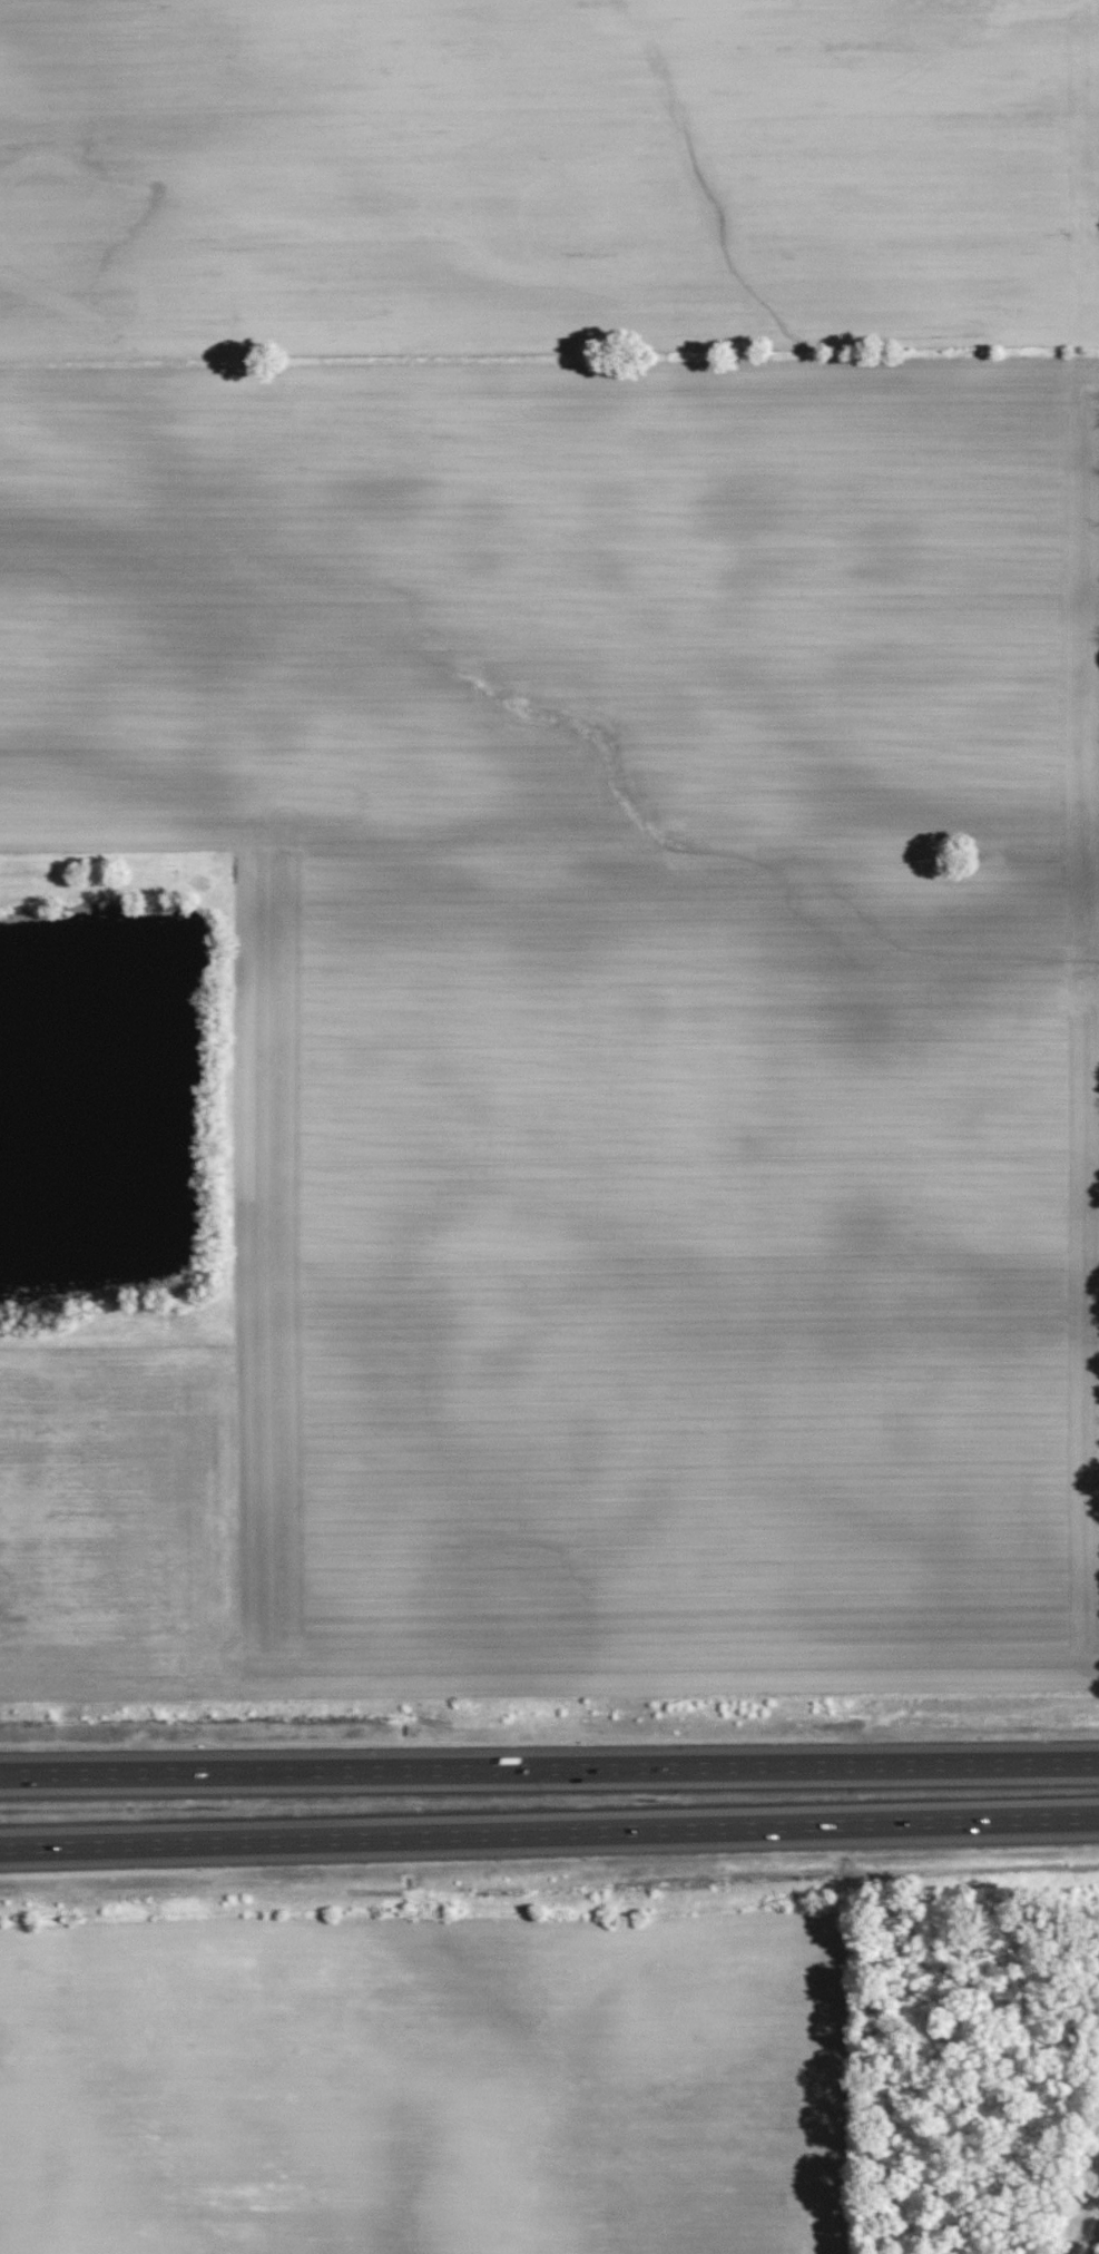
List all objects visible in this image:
road: (549, 1764)
road: (549, 1837)

